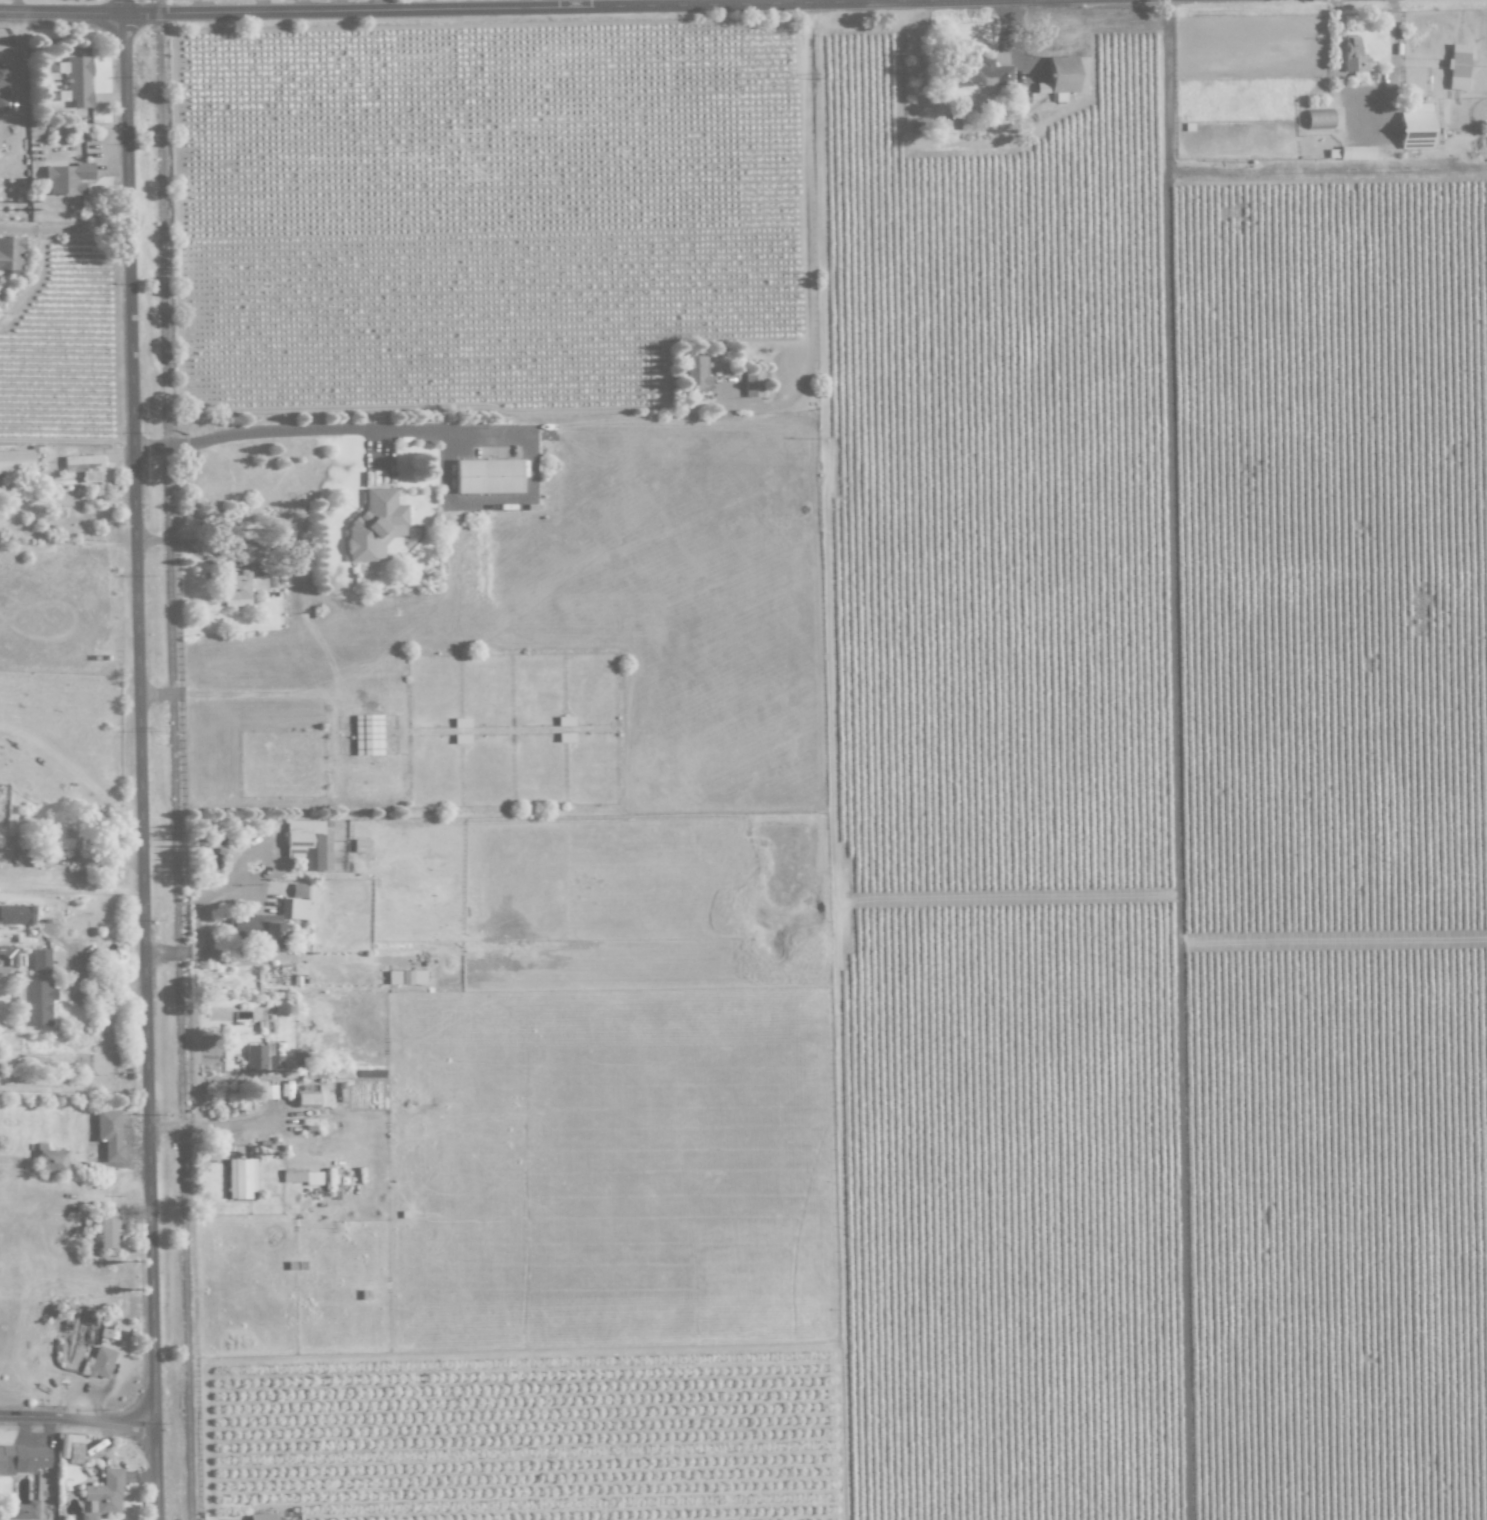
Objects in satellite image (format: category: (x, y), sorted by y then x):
road: (868, 0)
road: (455, 12)
building: (1353, 56)
building: (1457, 67)
building: (980, 73)
building: (1061, 74)
building: (77, 82)
building: (2, 88)
road: (1369, 104)
building: (1415, 127)
building: (1355, 153)
road: (1329, 178)
building: (65, 180)
road: (808, 210)
road: (62, 228)
building: (10, 253)
building: (697, 373)
building: (753, 383)
road: (329, 434)
building: (15, 460)
building: (84, 467)
building: (487, 476)
building: (374, 526)
building: (241, 589)
road: (240, 694)
building: (565, 721)
building: (460, 723)
building: (367, 735)
road: (142, 759)
road: (1177, 760)
building: (69, 844)
building: (308, 845)
building: (296, 907)
road: (196, 912)
building: (16, 915)
building: (40, 962)
building: (405, 977)
building: (36, 1003)
building: (262, 1059)
building: (311, 1098)
building: (108, 1134)
building: (51, 1161)
building: (302, 1177)
building: (240, 1178)
building: (107, 1230)
building: (100, 1363)
road: (78, 1423)
building: (22, 1460)
building: (103, 1495)
building: (24, 1511)
building: (262, 1516)

